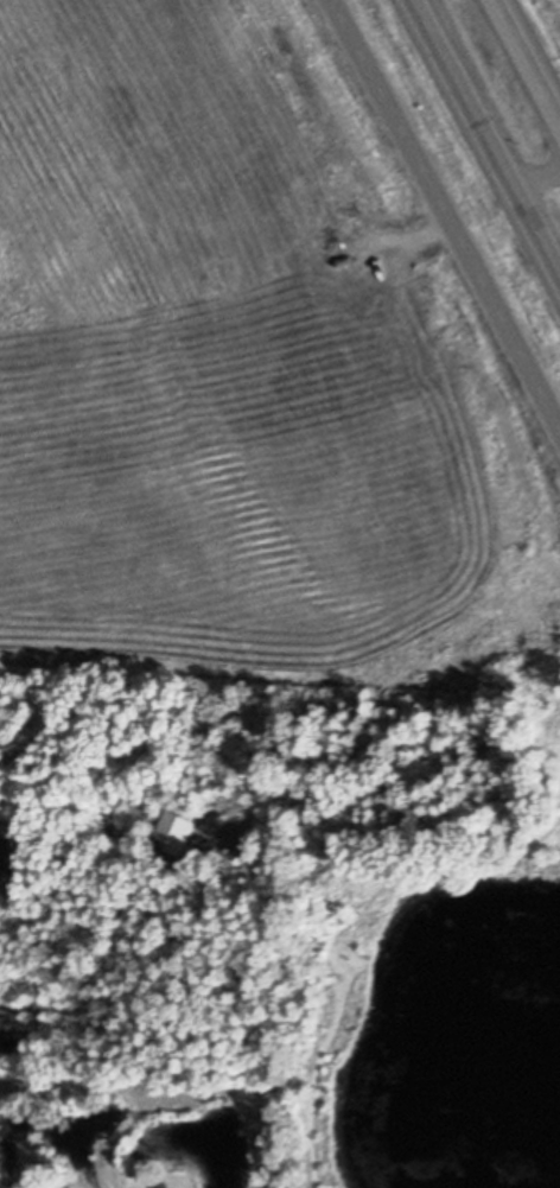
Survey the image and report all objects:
road: (526, 62)
road: (486, 135)
road: (445, 211)
building: (108, 788)
building: (123, 792)
building: (219, 806)
building: (178, 824)
building: (253, 825)
building: (7, 833)
building: (249, 843)
building: (7, 856)
building: (163, 862)
road: (127, 965)

